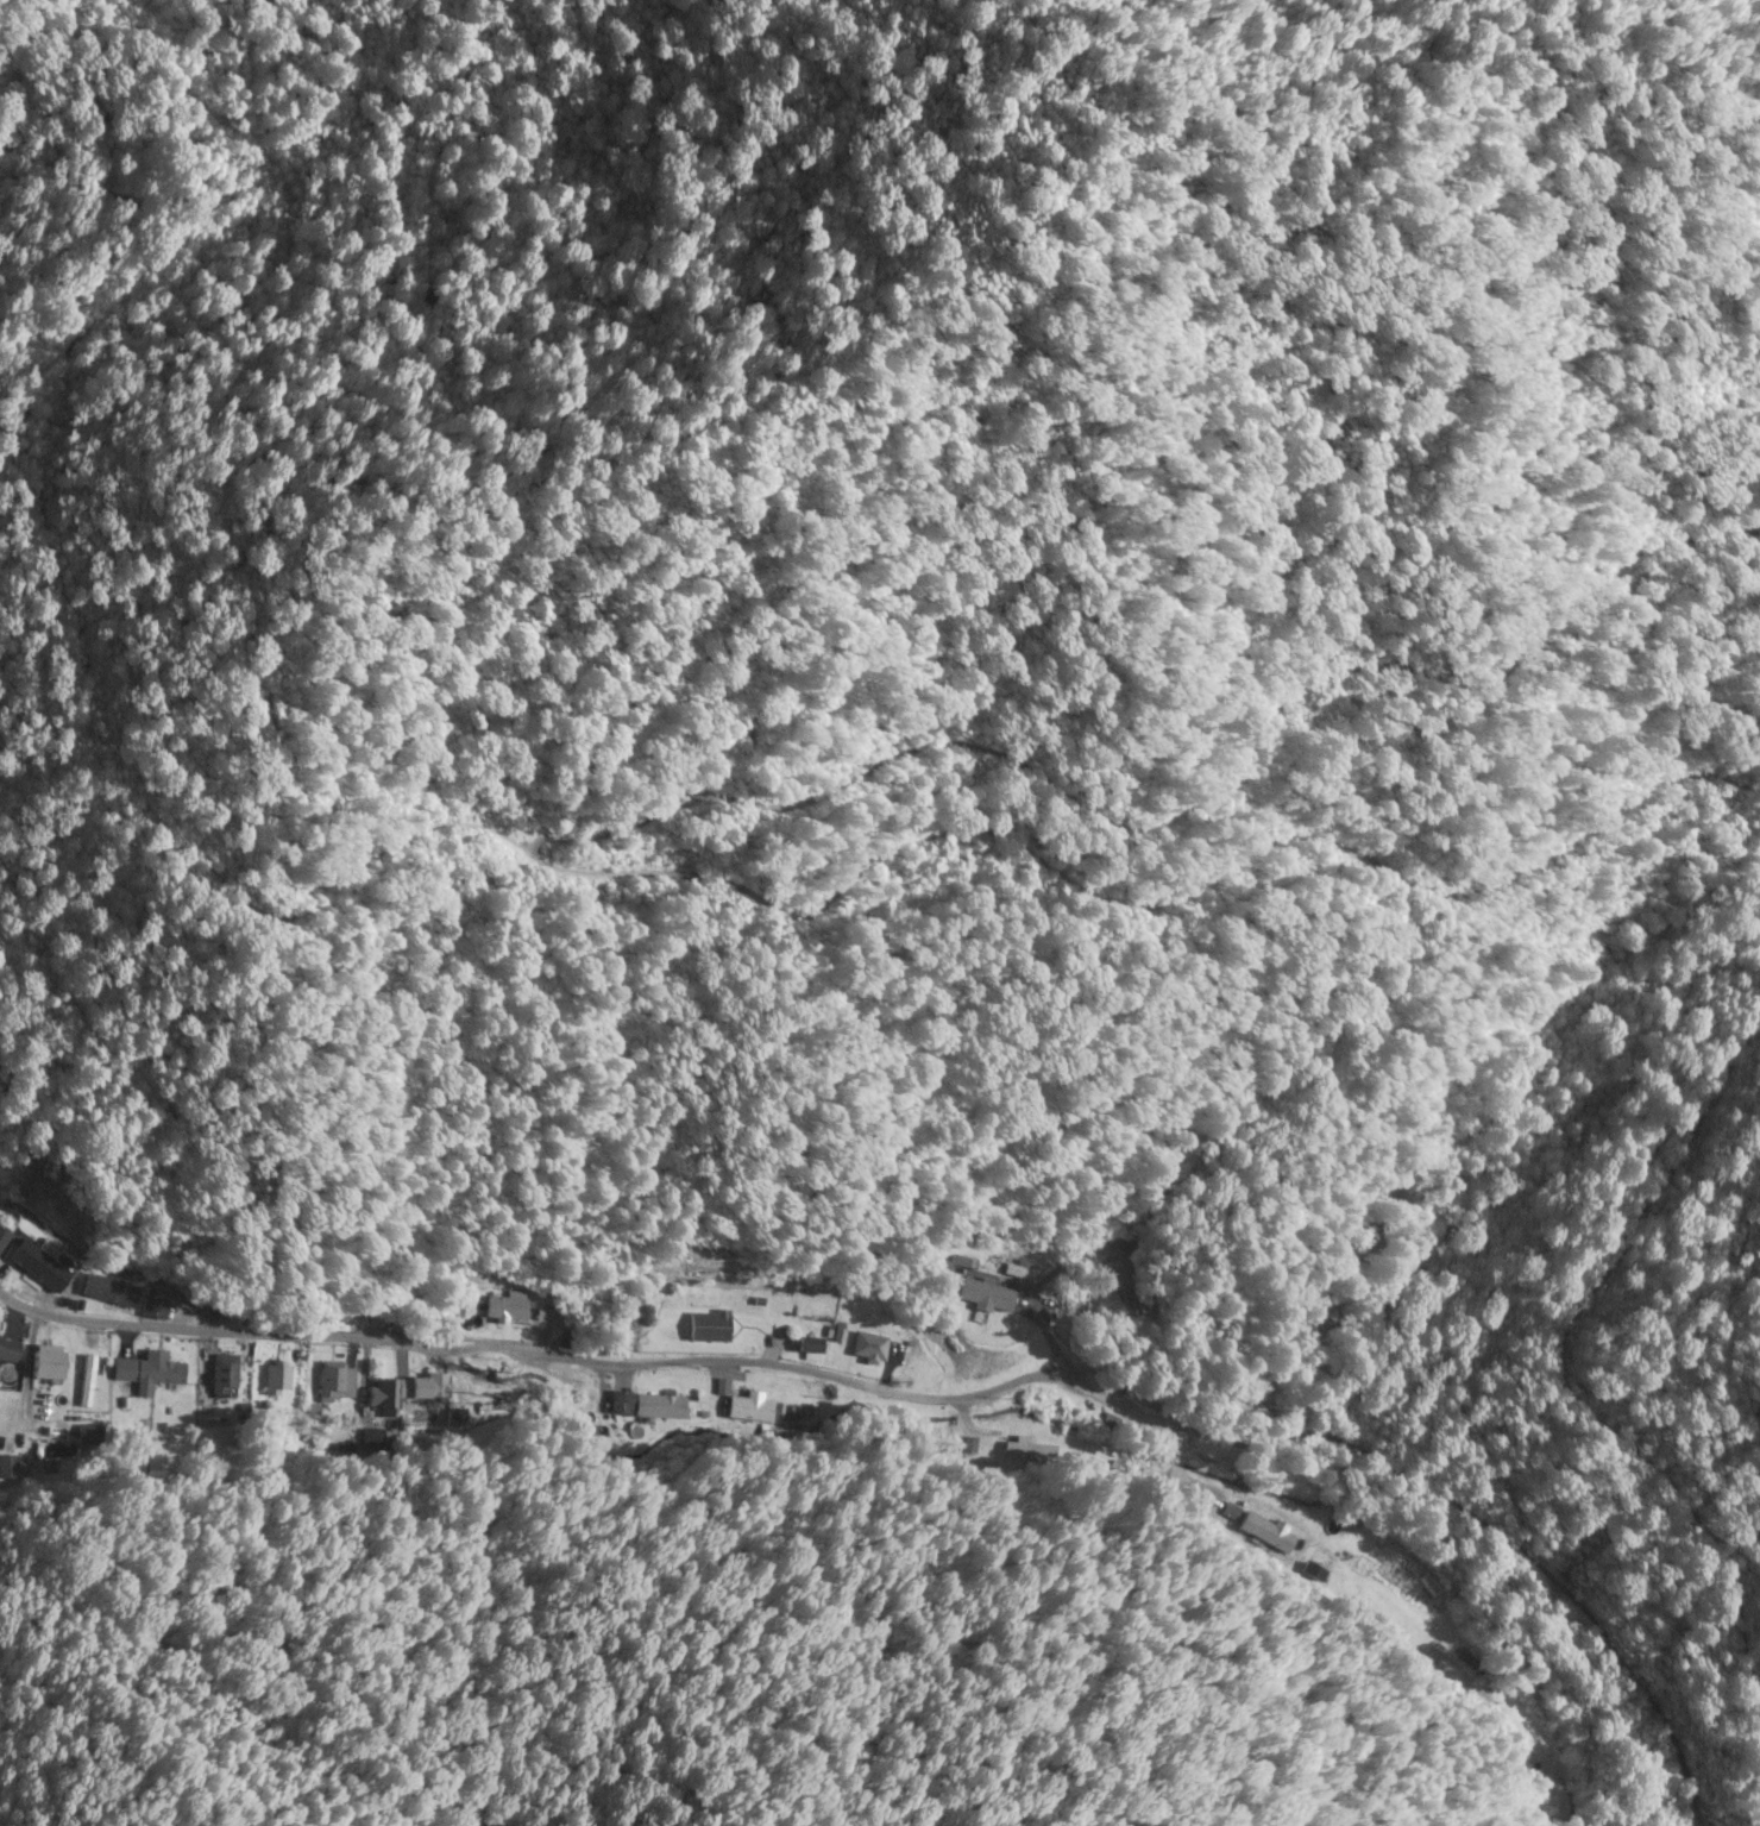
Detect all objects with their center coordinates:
building: (30, 1263)
building: (1020, 1273)
building: (1119, 1275)
building: (109, 1293)
building: (987, 1295)
building: (155, 1304)
building: (507, 1310)
building: (710, 1328)
building: (48, 1366)
road: (788, 1369)
building: (149, 1373)
building: (224, 1378)
building: (277, 1381)
building: (86, 1382)
building: (335, 1385)
building: (425, 1388)
building: (381, 1395)
building: (1134, 1400)
building: (647, 1407)
building: (748, 1414)
building: (87, 1436)
building: (1025, 1450)
building: (7, 1469)

